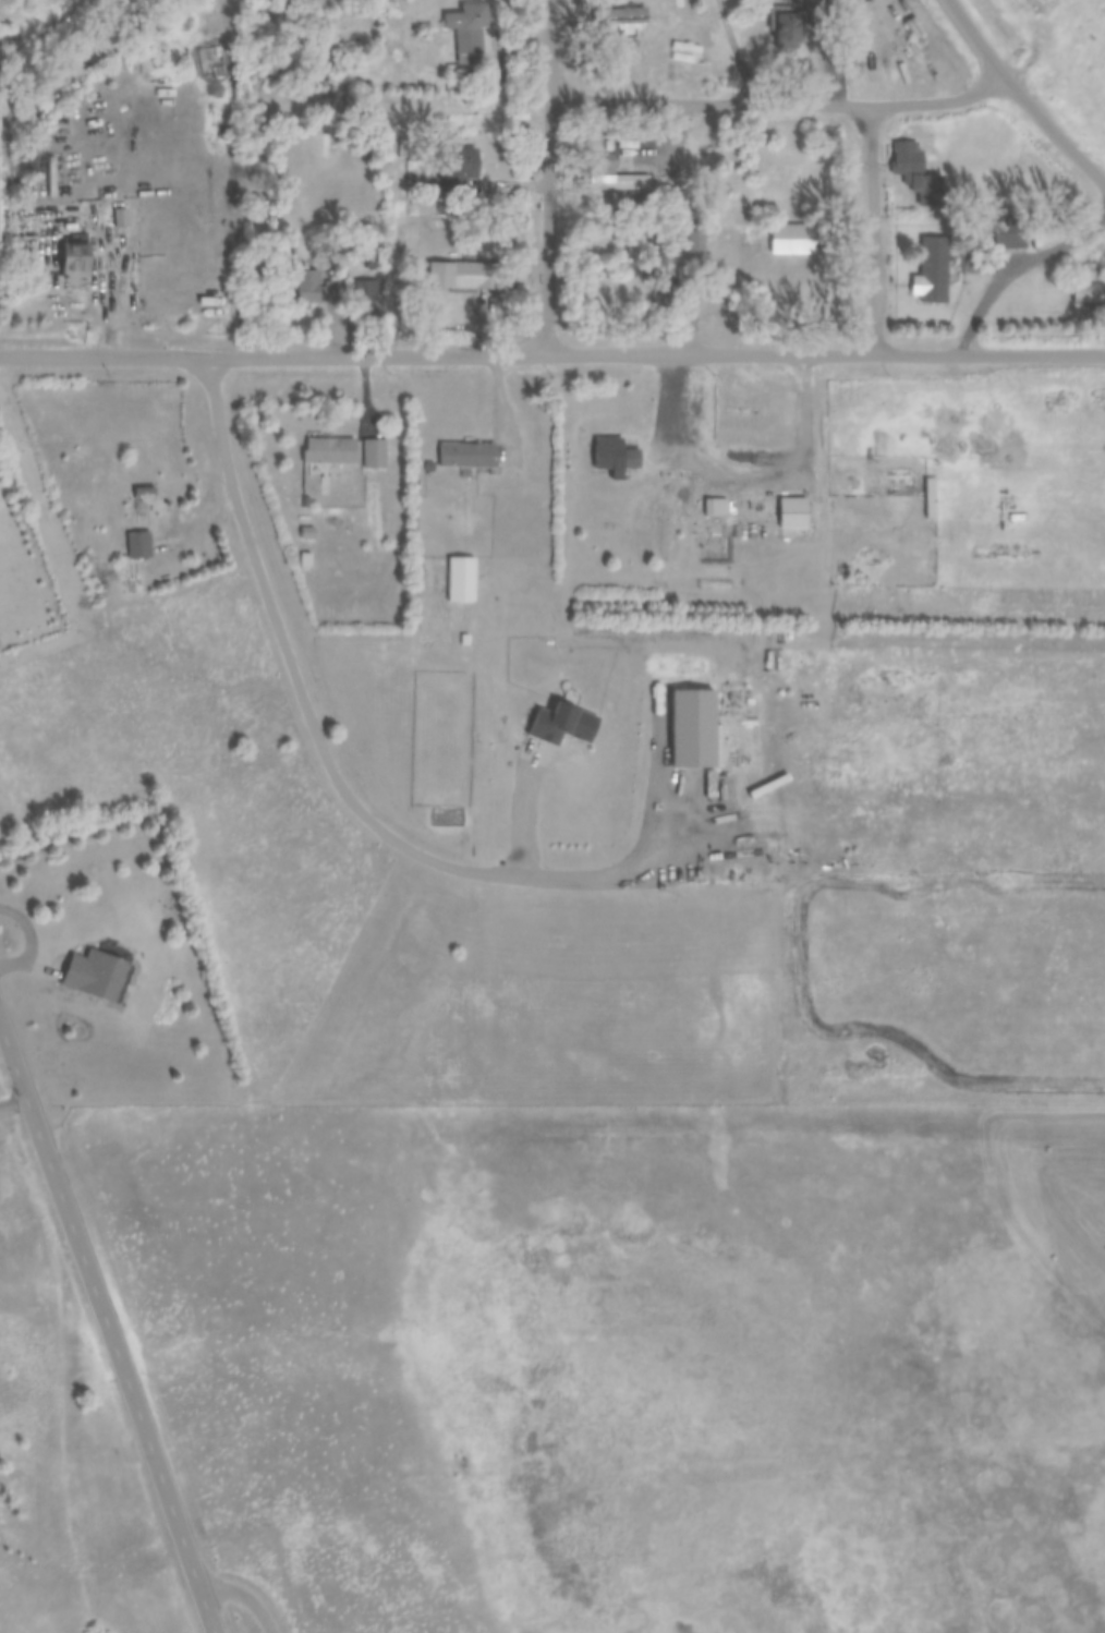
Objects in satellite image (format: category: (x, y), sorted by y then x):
building: (629, 15)
building: (792, 23)
building: (911, 28)
building: (466, 32)
road: (755, 64)
road: (1022, 95)
road: (781, 99)
building: (458, 170)
building: (604, 170)
building: (916, 173)
road: (552, 176)
building: (637, 182)
building: (120, 217)
road: (878, 225)
building: (746, 233)
building: (1010, 233)
building: (791, 240)
building: (82, 259)
road: (1011, 259)
building: (656, 263)
building: (689, 266)
building: (934, 269)
building: (1082, 273)
building: (463, 276)
building: (318, 289)
building: (1088, 293)
building: (193, 297)
road: (552, 351)
building: (328, 451)
building: (372, 453)
building: (466, 455)
building: (614, 457)
road: (748, 468)
building: (925, 499)
building: (712, 507)
building: (789, 512)
building: (138, 545)
building: (304, 560)
building: (460, 579)
road: (320, 773)
road: (503, 805)
road: (32, 934)
building: (98, 975)
road: (109, 1321)
road: (246, 1594)

